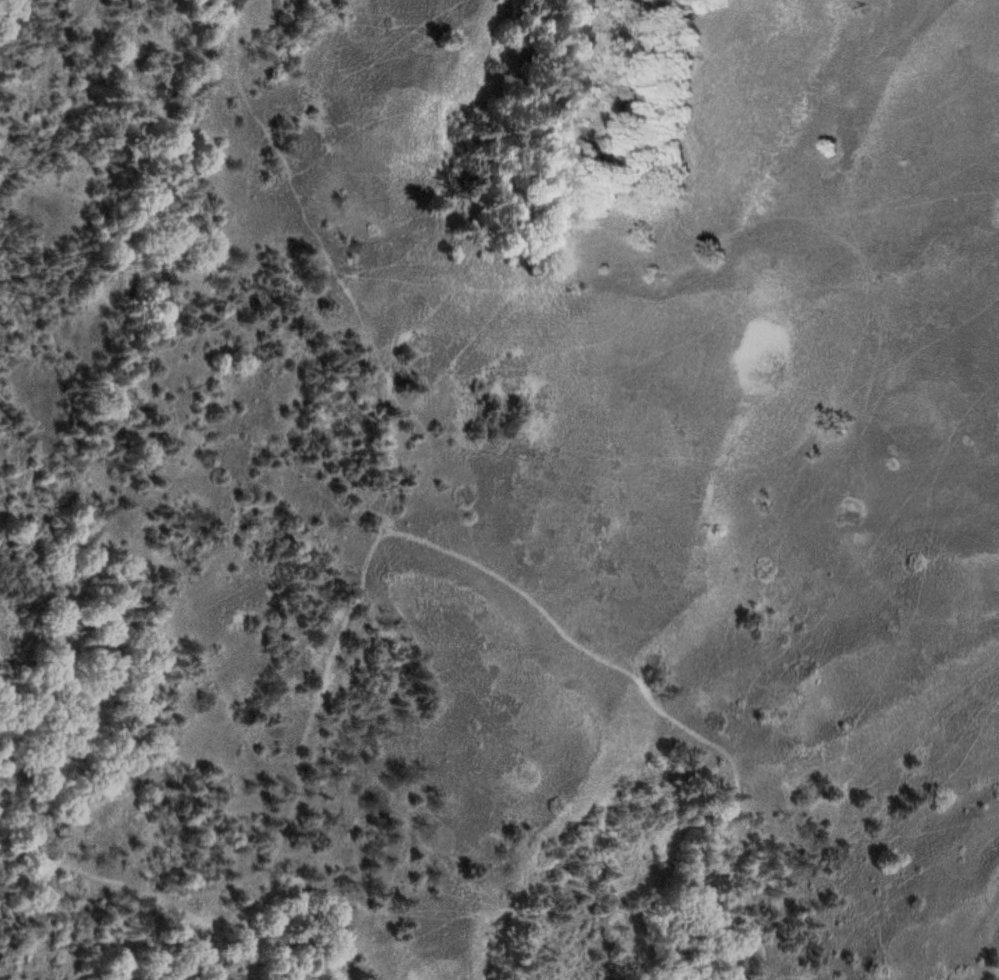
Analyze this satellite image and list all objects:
road: (126, 290)
park: (499, 490)
road: (136, 890)

